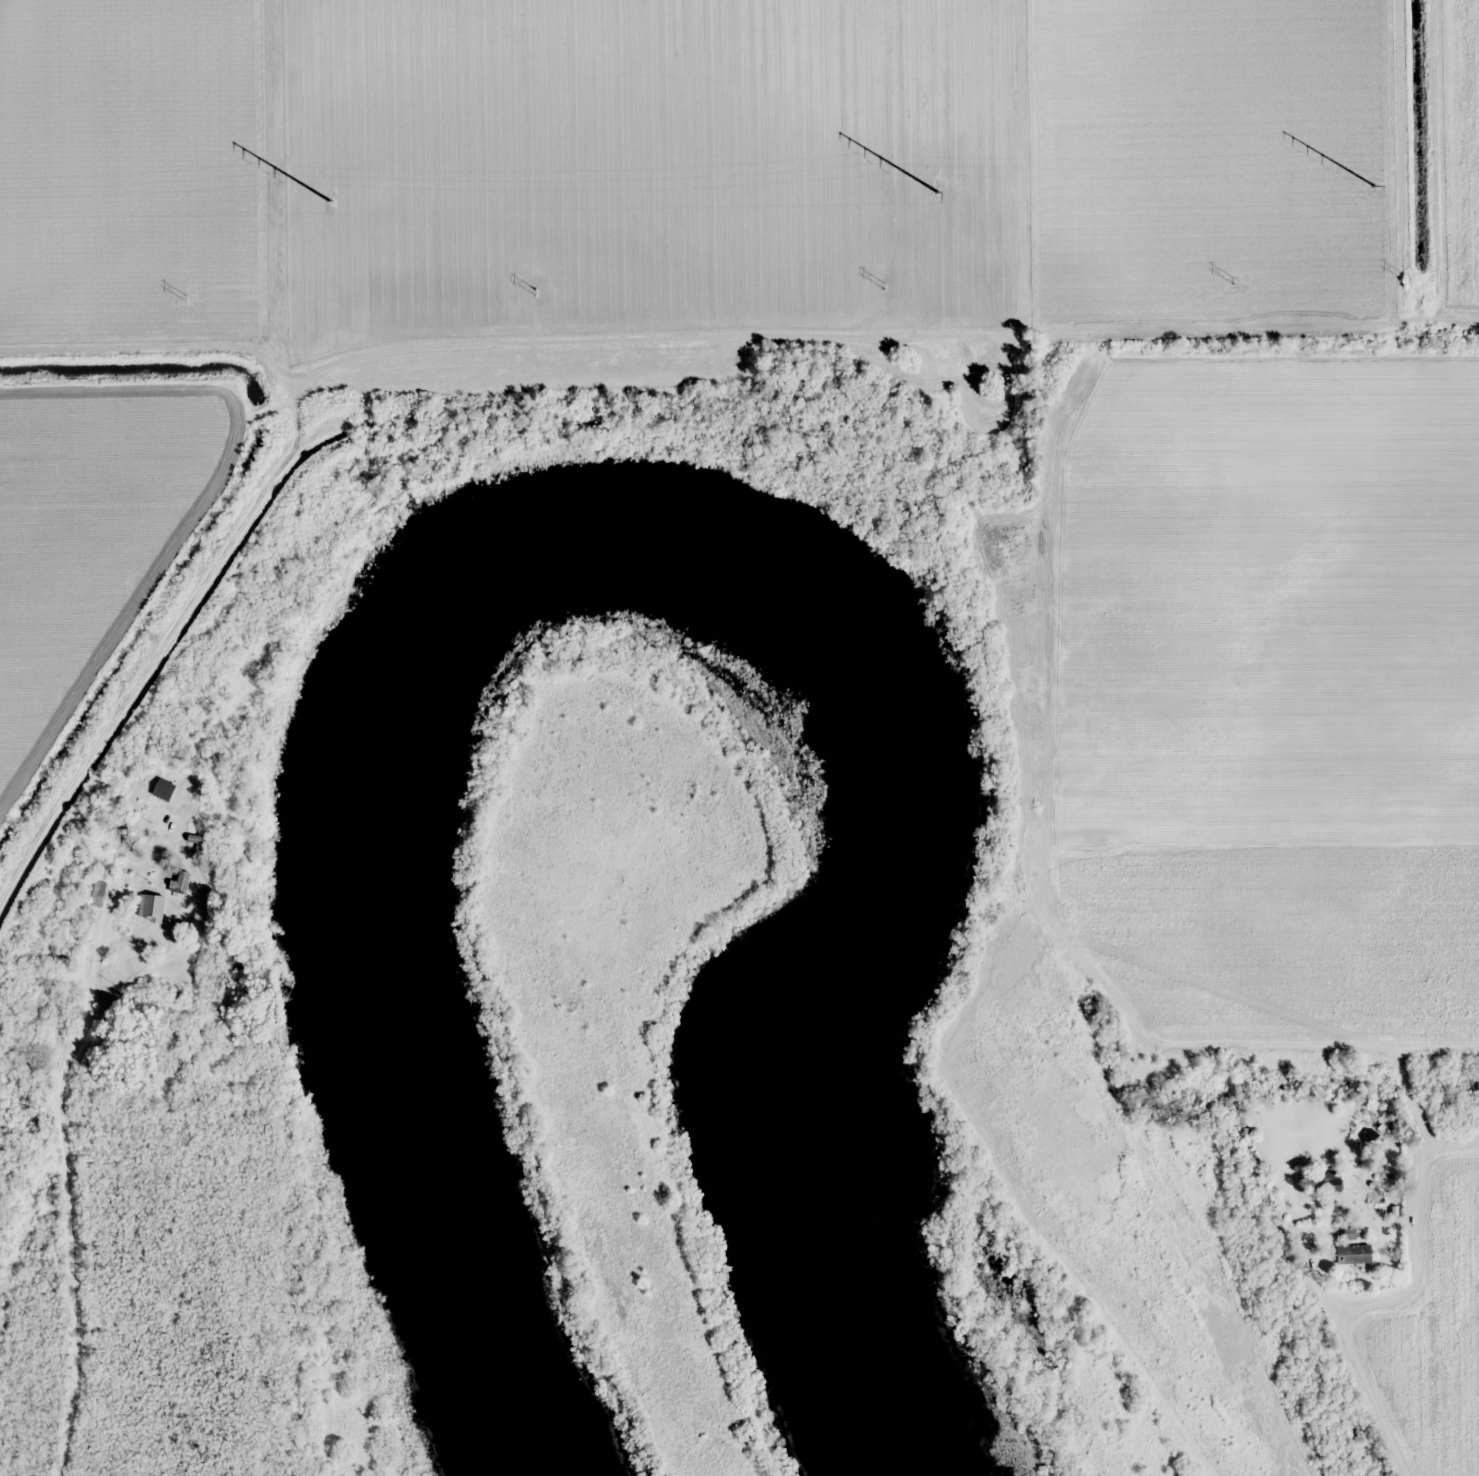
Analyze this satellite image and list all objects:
power tower: (1374, 183)
power tower: (939, 191)
power tower: (332, 203)
power tower: (1404, 276)
power tower: (1232, 279)
power tower: (882, 285)
power tower: (533, 290)
power tower: (183, 296)
building: (164, 790)
building: (182, 882)
building: (152, 907)
building: (94, 909)
building: (58, 947)
building: (230, 961)
road: (67, 1178)
building: (1331, 1181)
building: (1379, 1197)
building: (1355, 1254)
road: (1391, 1397)

